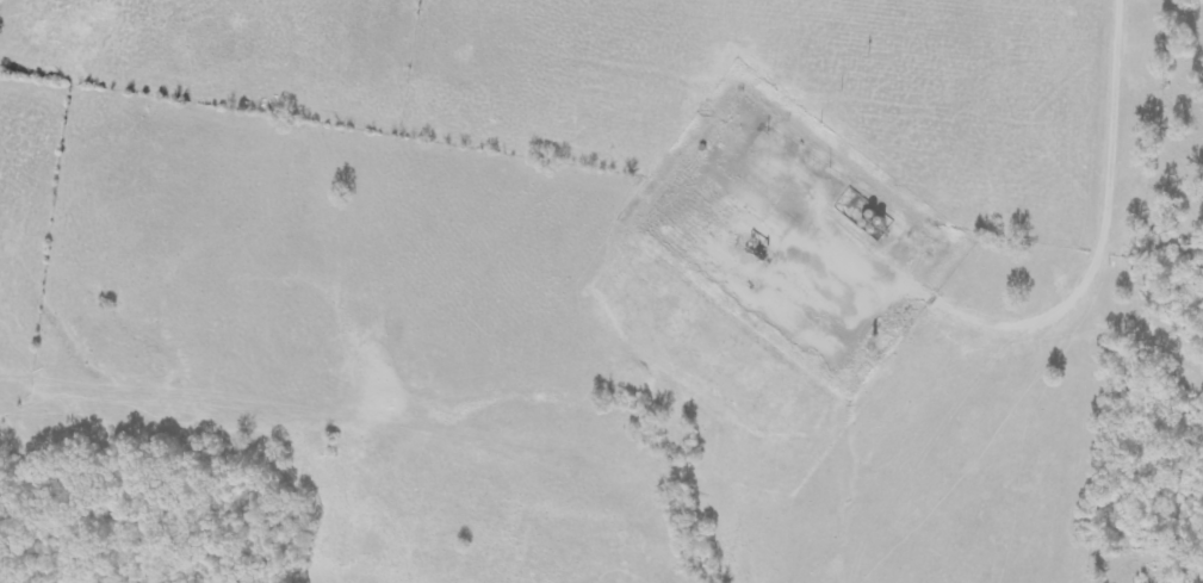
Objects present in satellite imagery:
road: (1099, 252)

